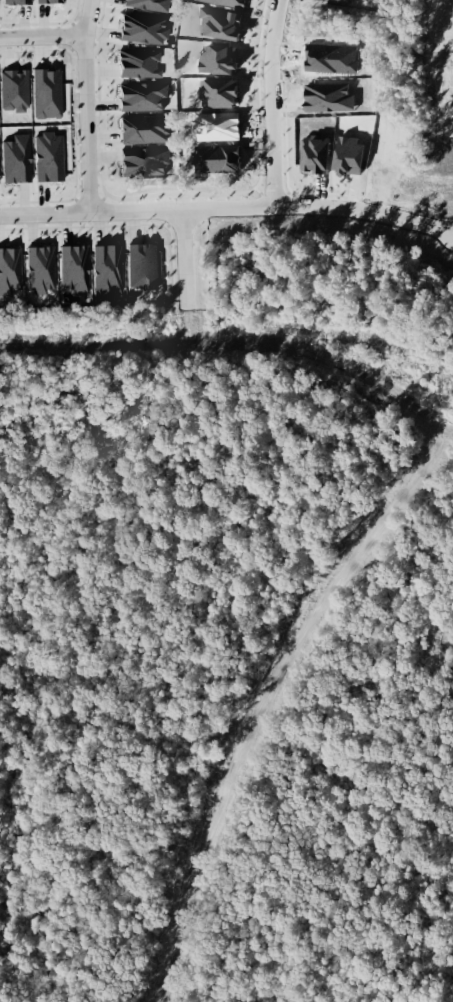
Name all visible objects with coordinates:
building: (54, 1)
building: (21, 2)
building: (151, 4)
building: (148, 29)
road: (44, 34)
building: (143, 63)
building: (0, 85)
building: (52, 92)
building: (146, 96)
road: (272, 102)
road: (88, 105)
building: (149, 129)
building: (53, 157)
building: (21, 159)
building: (149, 161)
building: (1, 164)
road: (228, 206)
building: (148, 266)
building: (45, 269)
building: (79, 269)
building: (112, 270)
building: (12, 271)
road: (186, 274)
road: (269, 337)
road: (130, 340)
road: (103, 502)
road: (285, 681)
road: (101, 734)
road: (102, 899)

